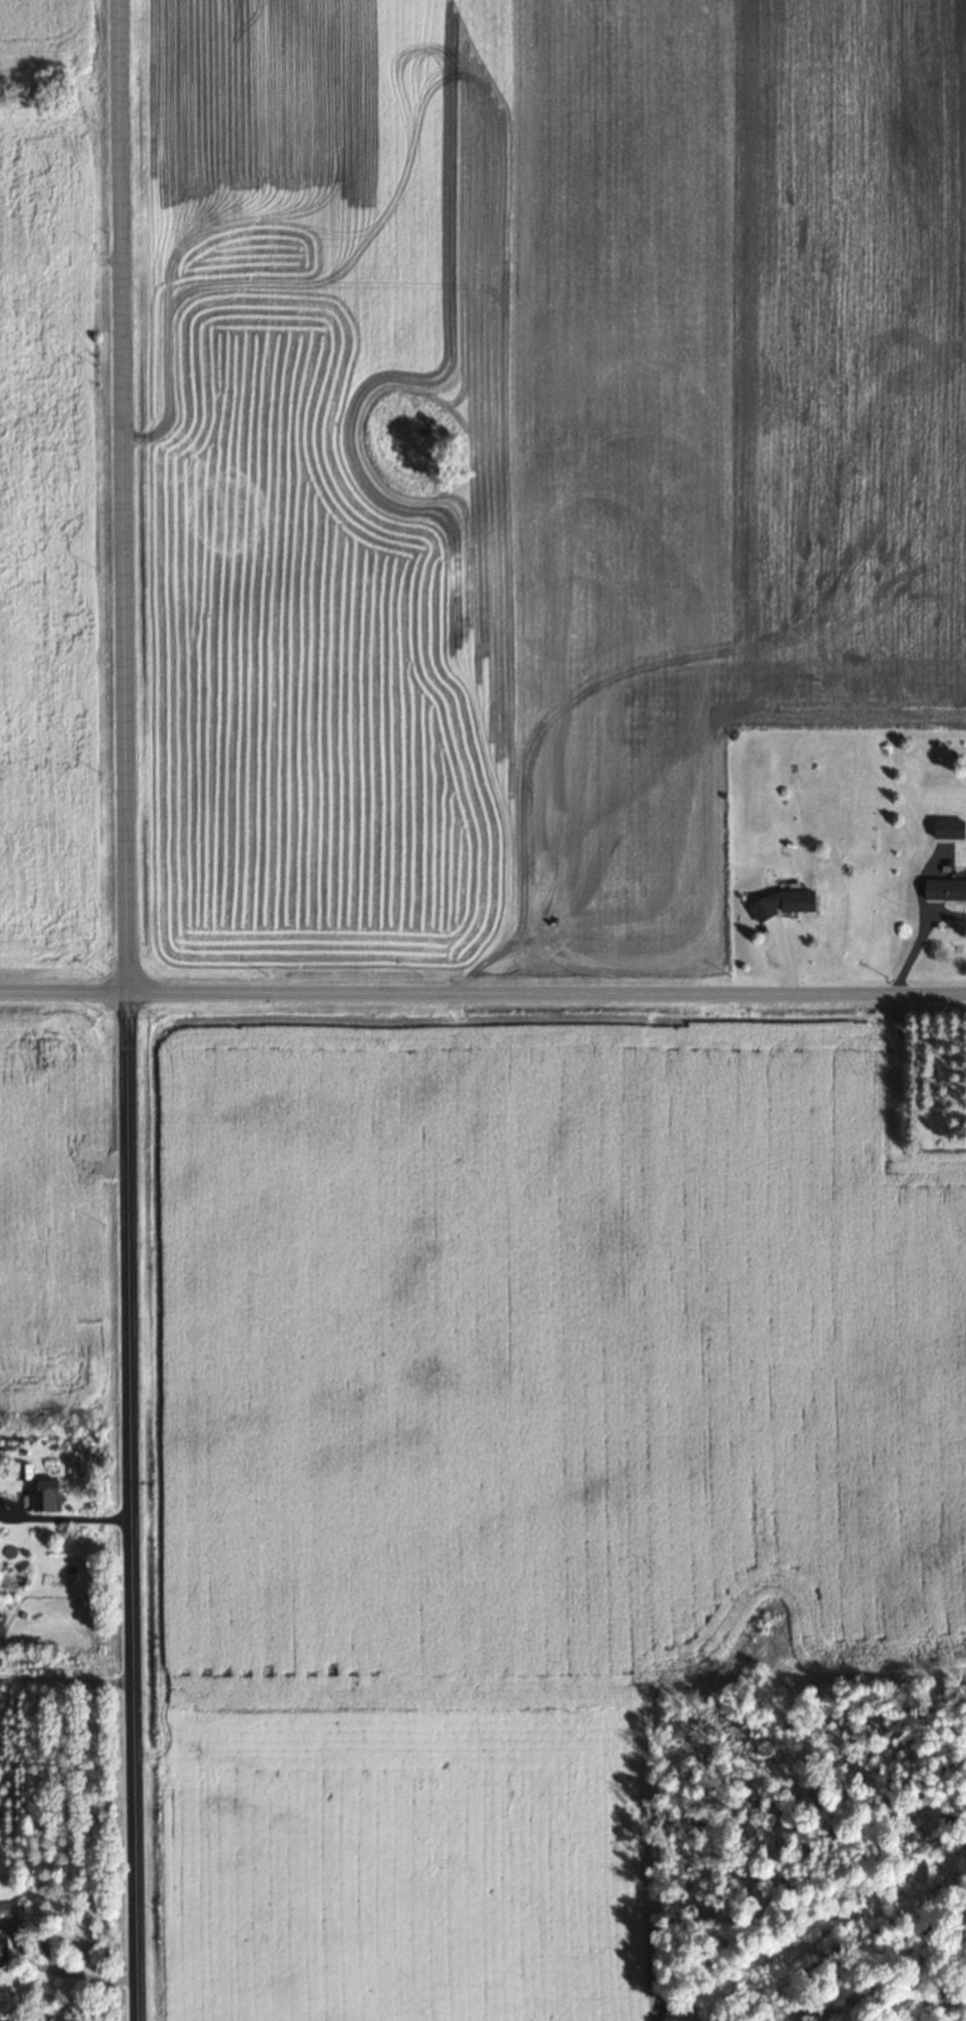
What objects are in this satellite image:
building: (944, 826)
building: (944, 888)
building: (782, 903)
road: (482, 992)
road: (129, 1010)
building: (44, 1495)
road: (26, 1960)

